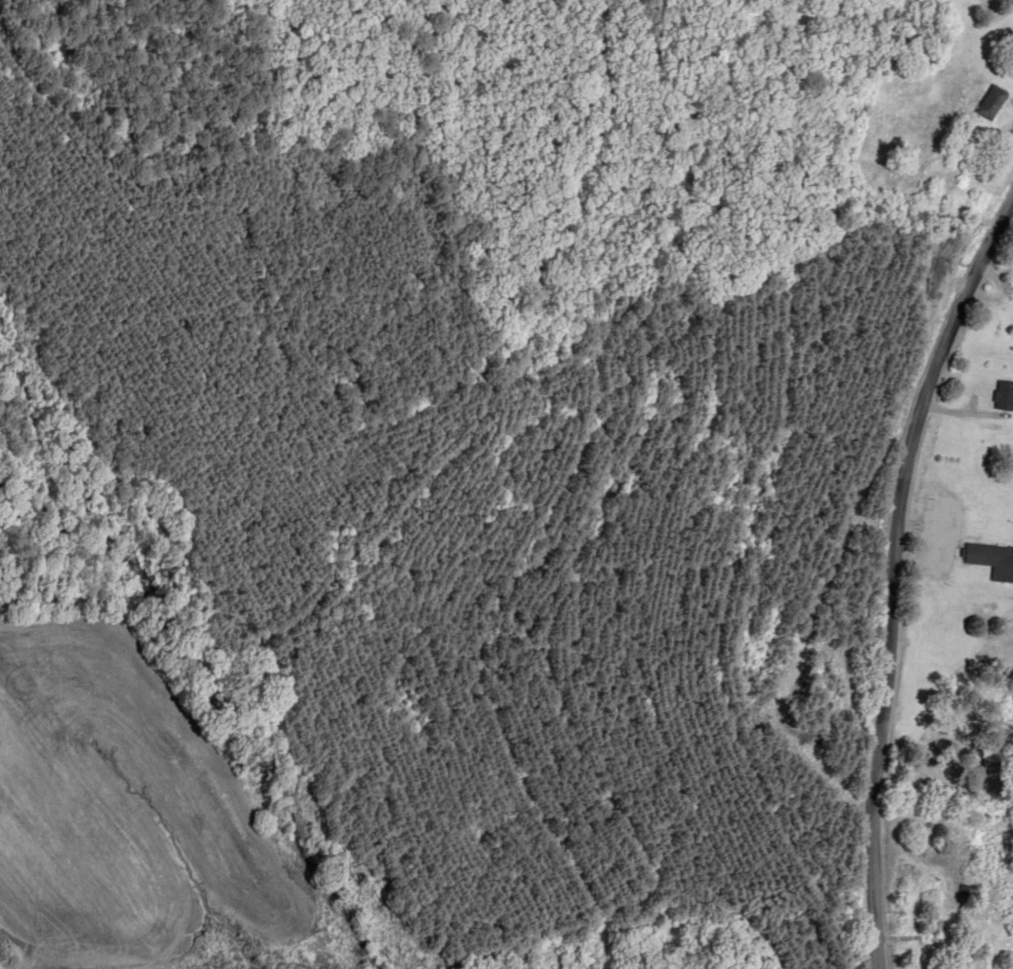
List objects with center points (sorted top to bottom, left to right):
road: (1002, 3)
building: (993, 102)
building: (1004, 396)
building: (992, 560)
road: (918, 603)

